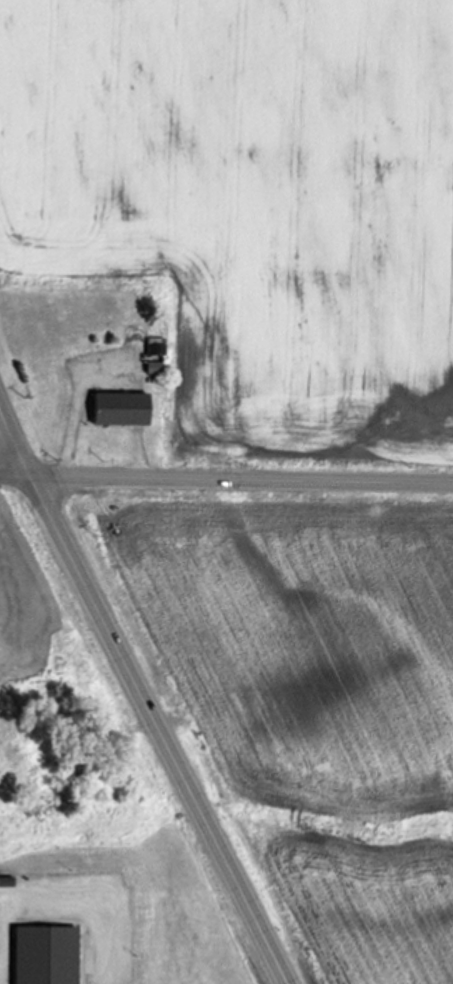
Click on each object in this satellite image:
building: (115, 409)
road: (138, 456)
road: (226, 478)
road: (141, 696)
road: (57, 898)
building: (40, 956)

